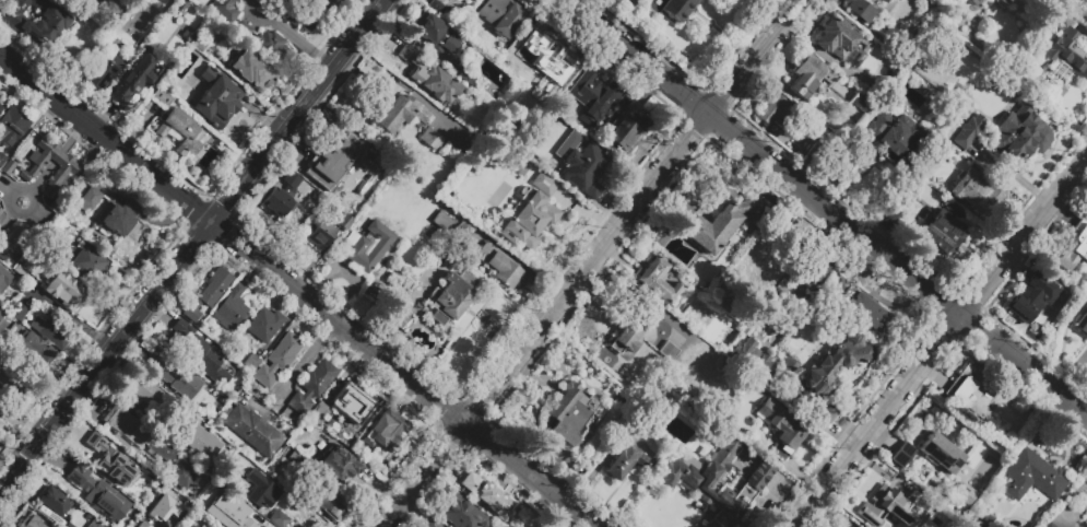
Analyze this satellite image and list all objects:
building: (449, 0)
building: (466, 0)
building: (882, 1)
building: (1005, 1)
building: (1021, 1)
building: (326, 2)
building: (977, 2)
building: (1038, 2)
building: (167, 4)
building: (436, 7)
building: (670, 8)
building: (224, 9)
road: (270, 9)
building: (859, 10)
road: (252, 14)
building: (298, 15)
building: (499, 16)
building: (37, 19)
building: (172, 26)
building: (243, 33)
building: (435, 33)
building: (836, 37)
building: (201, 43)
road: (302, 43)
building: (272, 44)
building: (405, 52)
road: (635, 56)
building: (1065, 56)
road: (751, 57)
building: (543, 65)
building: (105, 66)
building: (1030, 66)
building: (251, 68)
building: (464, 73)
building: (808, 75)
building: (134, 77)
building: (439, 87)
building: (593, 95)
building: (162, 97)
building: (216, 98)
building: (861, 102)
building: (1, 110)
building: (772, 110)
building: (402, 113)
building: (12, 127)
building: (625, 127)
building: (968, 131)
building: (181, 132)
road: (73, 134)
building: (1019, 137)
building: (430, 138)
building: (886, 143)
building: (820, 153)
road: (57, 155)
building: (329, 161)
building: (534, 169)
building: (583, 169)
building: (68, 174)
road: (36, 181)
building: (971, 190)
building: (283, 196)
building: (88, 200)
building: (522, 207)
building: (0, 211)
road: (832, 215)
building: (118, 216)
building: (888, 218)
building: (344, 222)
building: (720, 224)
building: (943, 230)
building: (321, 233)
building: (464, 233)
building: (9, 239)
road: (192, 243)
building: (367, 245)
building: (1073, 247)
building: (90, 263)
building: (496, 265)
building: (20, 269)
building: (816, 269)
building: (846, 271)
building: (4, 278)
building: (663, 284)
road: (297, 290)
building: (63, 291)
building: (373, 291)
building: (209, 292)
building: (451, 296)
building: (1031, 297)
building: (231, 308)
building: (865, 312)
building: (19, 314)
building: (1, 316)
building: (403, 317)
road: (545, 320)
building: (1082, 321)
building: (264, 324)
building: (54, 330)
building: (629, 332)
road: (940, 340)
building: (722, 349)
building: (36, 350)
building: (667, 350)
building: (201, 354)
building: (969, 355)
building: (753, 356)
building: (962, 359)
building: (277, 360)
road: (302, 361)
building: (836, 363)
road: (1023, 366)
building: (789, 368)
building: (169, 371)
building: (14, 377)
building: (312, 386)
building: (971, 393)
building: (147, 394)
building: (351, 403)
building: (319, 412)
building: (570, 412)
building: (825, 413)
building: (3, 414)
building: (781, 424)
building: (255, 431)
building: (385, 431)
building: (137, 432)
building: (199, 440)
building: (95, 448)
building: (942, 453)
building: (902, 454)
building: (625, 458)
building: (342, 464)
building: (305, 468)
building: (122, 472)
building: (181, 473)
building: (579, 475)
building: (1032, 476)
building: (79, 477)
building: (690, 478)
building: (257, 489)
building: (972, 491)
building: (488, 495)
building: (55, 501)
building: (105, 503)
building: (330, 504)
building: (163, 506)
building: (903, 508)
building: (233, 513)
building: (463, 515)
building: (279, 518)
building: (32, 522)
building: (95, 523)
building: (983, 523)
building: (140, 524)
building: (69, 525)
building: (188, 525)
building: (202, 525)
building: (433, 525)
building: (1048, 525)
building: (899, 526)

